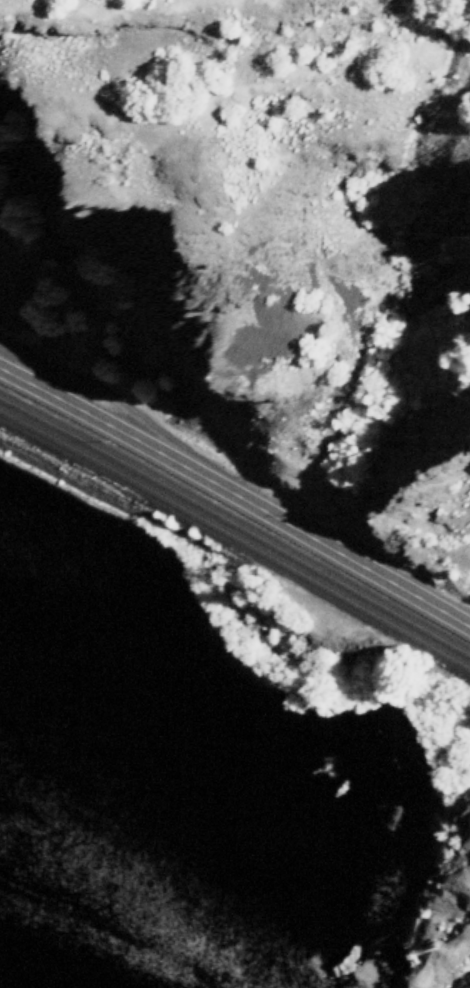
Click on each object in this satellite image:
road: (236, 494)
railway: (236, 524)
railway: (237, 539)

